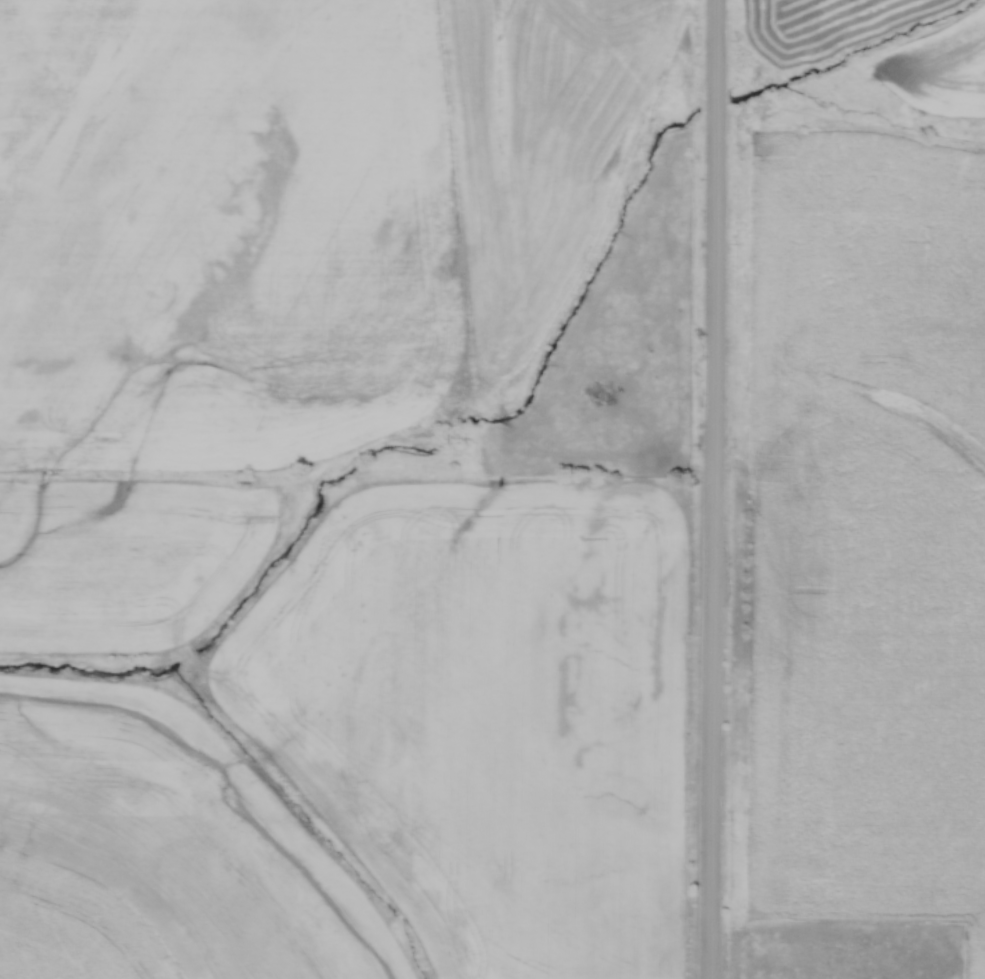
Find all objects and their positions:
road: (710, 489)

